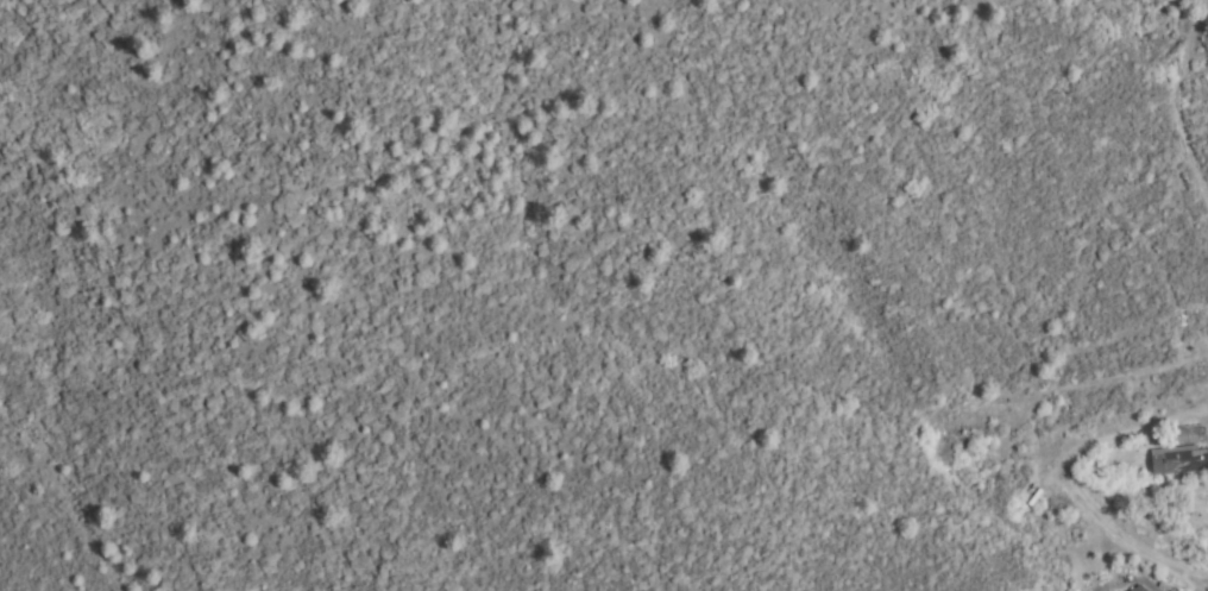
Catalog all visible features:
building: (1185, 436)
building: (1179, 461)
building: (1139, 590)

